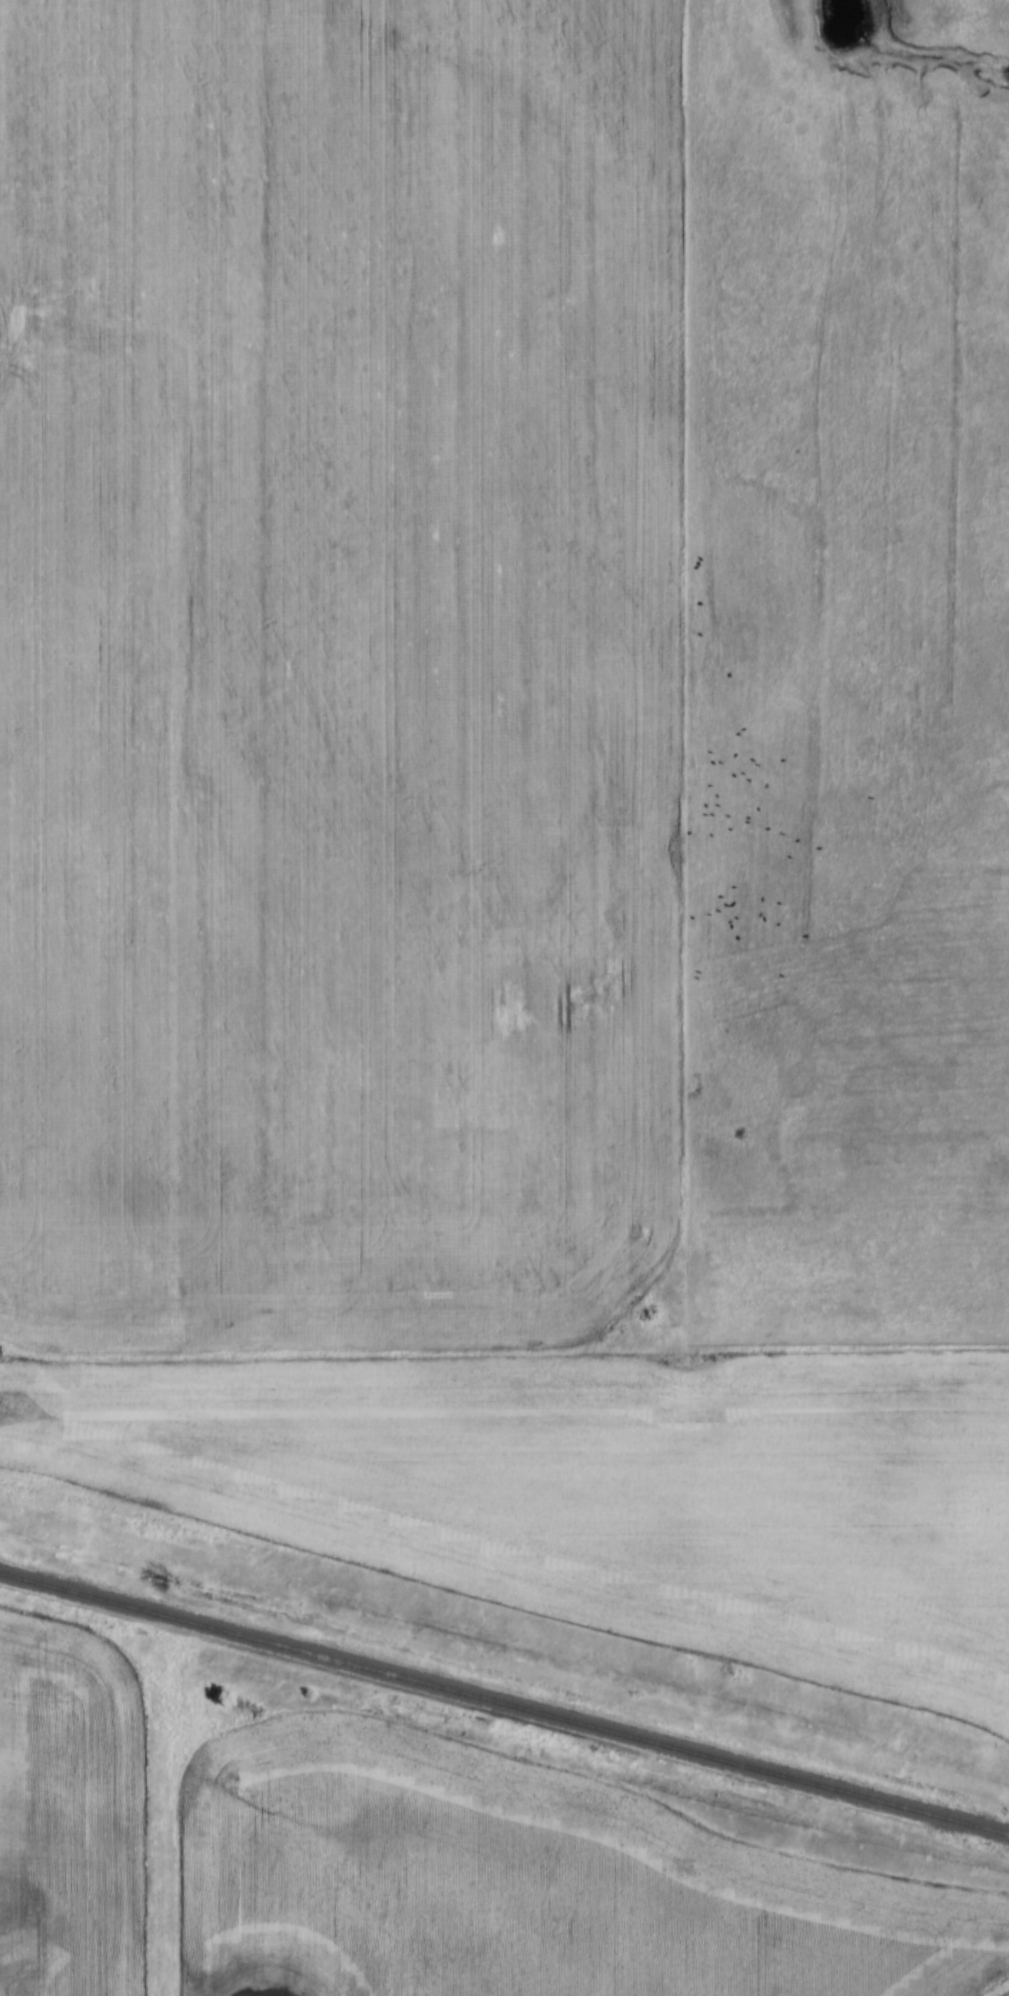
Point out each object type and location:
railway: (504, 1703)

